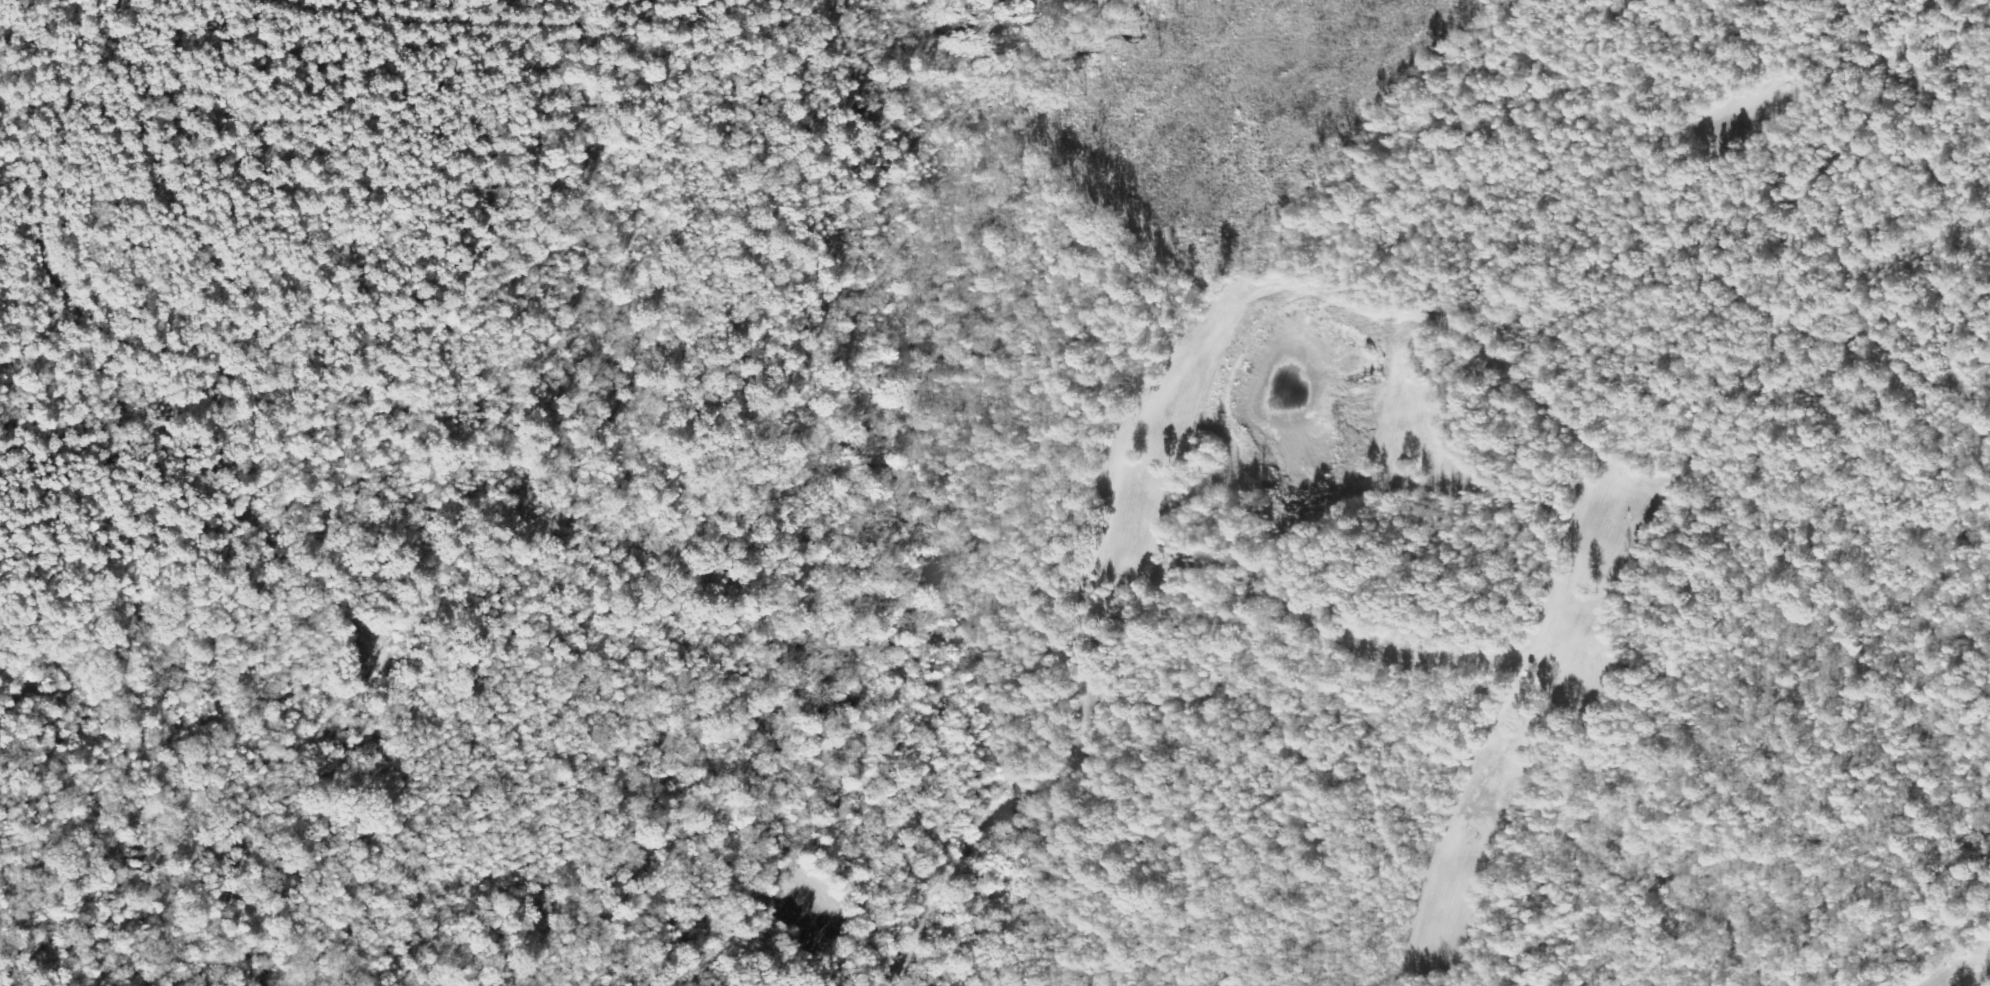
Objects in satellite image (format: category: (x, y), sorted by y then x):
road: (47, 257)

